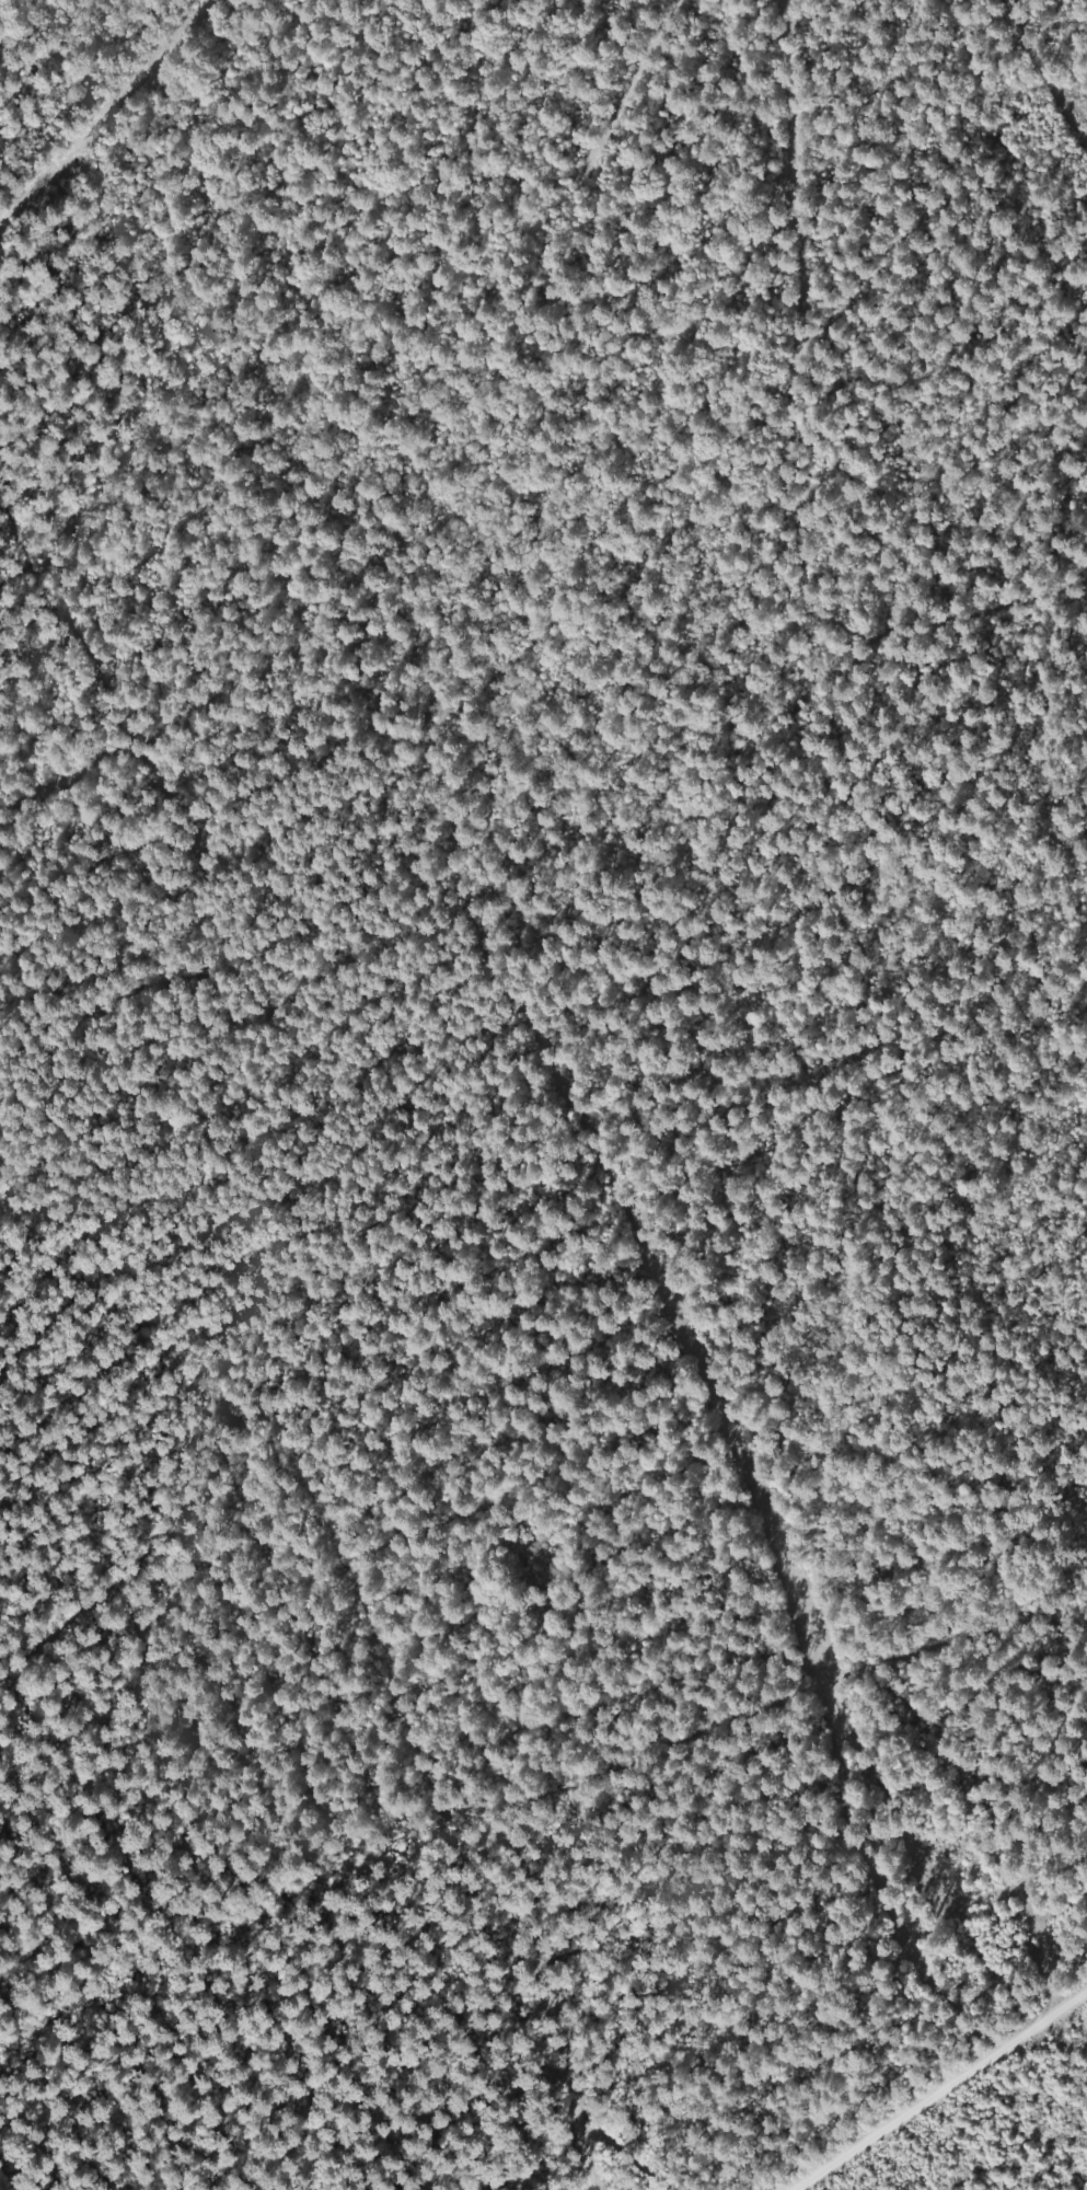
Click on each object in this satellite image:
road: (99, 108)
road: (925, 2080)

